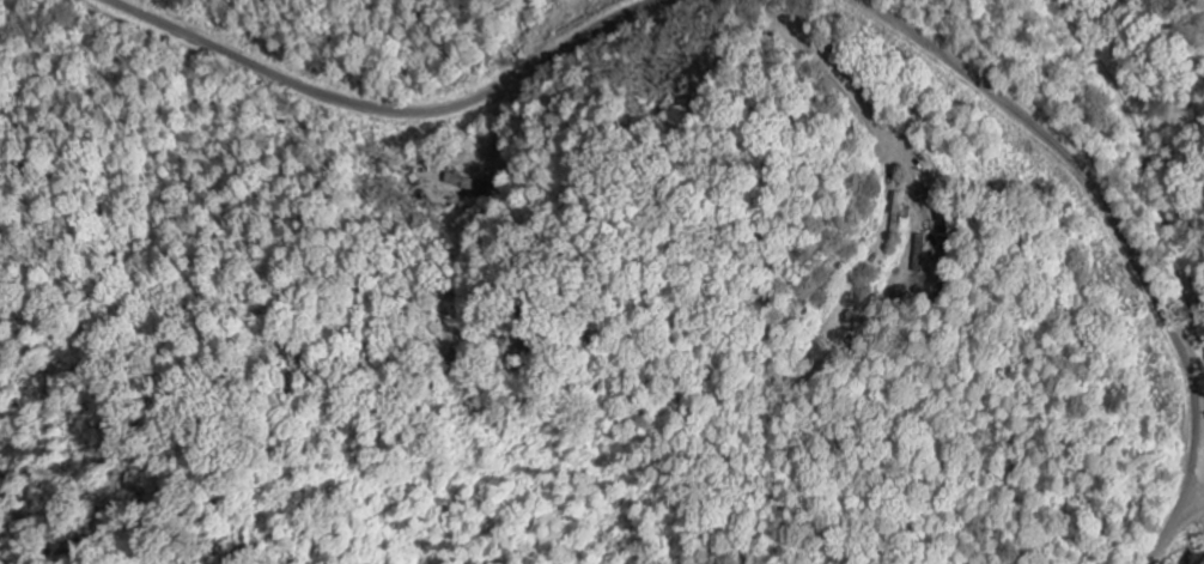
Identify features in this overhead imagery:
road: (383, 109)
road: (1142, 162)
road: (1103, 204)
building: (948, 216)
building: (920, 254)
road: (1203, 335)
road: (1199, 422)
road: (1192, 498)
road: (1166, 532)

